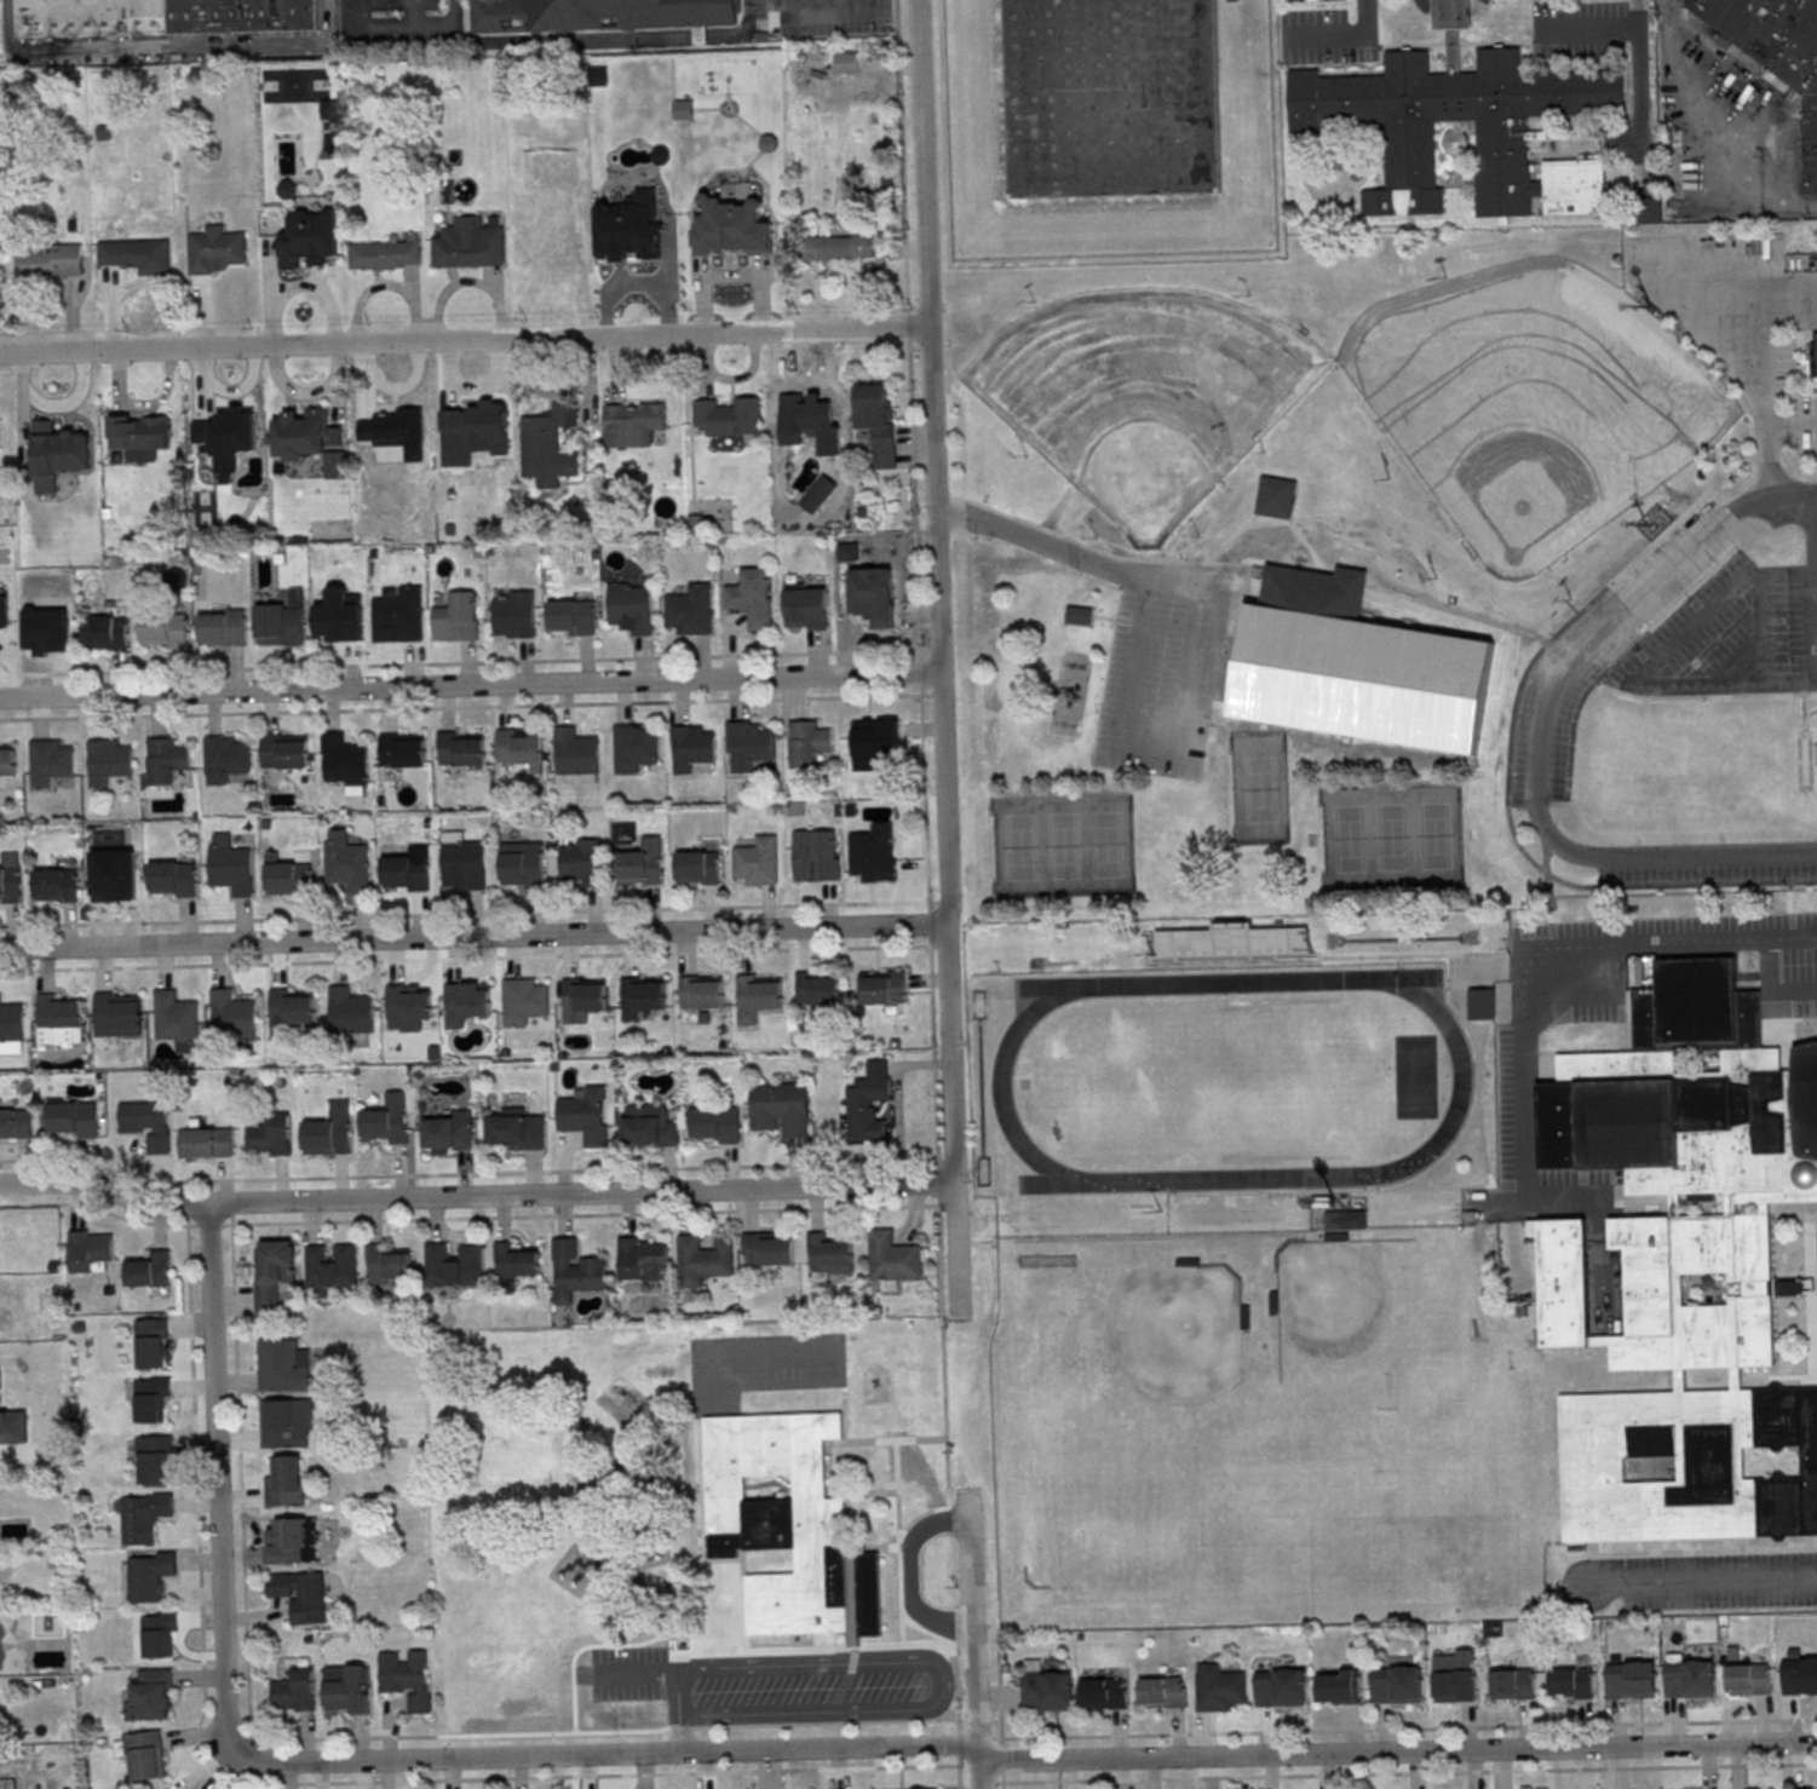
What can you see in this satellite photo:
road: (816, 6)
road: (412, 13)
building: (594, 13)
building: (159, 17)
road: (6, 27)
road: (407, 27)
road: (1599, 29)
road: (1349, 31)
road: (559, 41)
road: (191, 50)
building: (1778, 54)
building: (845, 63)
road: (1638, 71)
building: (1093, 93)
building: (1456, 93)
building: (327, 110)
road: (943, 133)
road: (901, 157)
road: (1687, 166)
building: (287, 190)
building: (1649, 209)
building: (629, 226)
building: (731, 228)
building: (310, 238)
building: (468, 243)
building: (550, 245)
building: (840, 247)
building: (215, 248)
building: (384, 253)
building: (137, 254)
building: (1816, 259)
building: (51, 261)
road: (907, 327)
road: (464, 340)
building: (1812, 358)
road: (1760, 390)
park: (1142, 396)
park: (1533, 402)
building: (806, 414)
building: (728, 416)
building: (473, 419)
building: (875, 421)
building: (633, 422)
road: (1789, 422)
building: (391, 425)
building: (228, 435)
building: (138, 436)
building: (309, 438)
building: (548, 444)
building: (57, 453)
building: (1272, 495)
road: (913, 499)
stadium: (1198, 519)
stadium: (1439, 520)
stadium: (1094, 522)
stadium: (1591, 545)
road: (1069, 553)
park: (1386, 574)
road: (1810, 587)
building: (873, 596)
building: (751, 598)
building: (629, 606)
building: (4, 608)
building: (804, 609)
building: (689, 610)
building: (514, 614)
building: (399, 615)
building: (458, 616)
building: (571, 617)
building: (340, 620)
building: (280, 625)
building: (222, 627)
building: (163, 628)
road: (1759, 629)
building: (105, 631)
building: (46, 633)
parking lot: (1730, 637)
parking lot: (1604, 644)
building: (1327, 652)
road: (938, 660)
road: (459, 663)
road: (1740, 665)
road: (1646, 667)
parking lot: (1161, 668)
road: (919, 673)
road: (468, 685)
road: (460, 707)
road: (1539, 727)
building: (874, 738)
building: (807, 743)
building: (747, 744)
building: (518, 746)
building: (633, 747)
building: (690, 747)
building: (460, 749)
road: (1148, 749)
building: (399, 750)
building: (283, 752)
building: (575, 752)
building: (224, 758)
building: (165, 760)
building: (7, 761)
building: (48, 761)
building: (107, 761)
building: (345, 764)
park: (1259, 788)
park: (1391, 835)
park: (1059, 844)
building: (816, 855)
building: (873, 858)
building: (755, 861)
building: (581, 862)
building: (465, 863)
building: (640, 863)
building: (522, 864)
building: (349, 865)
parking lot: (1707, 867)
building: (696, 868)
building: (231, 869)
building: (407, 870)
building: (114, 873)
building: (10, 879)
building: (287, 879)
building: (172, 880)
building: (53, 885)
road: (464, 914)
road: (928, 930)
road: (472, 937)
road: (1678, 938)
stadium: (1223, 945)
road: (464, 957)
road: (1775, 983)
building: (881, 986)
building: (816, 990)
building: (698, 993)
building: (640, 994)
building: (758, 994)
building: (582, 996)
building: (523, 1001)
building: (464, 1003)
building: (1480, 1003)
building: (406, 1006)
building: (291, 1007)
building: (349, 1012)
building: (117, 1016)
building: (231, 1017)
building: (58, 1018)
building: (176, 1018)
building: (11, 1029)
park: (1231, 1080)
track: (1231, 1081)
building: (864, 1106)
building: (782, 1108)
building: (583, 1116)
building: (71, 1120)
building: (143, 1120)
building: (385, 1120)
building: (715, 1123)
building: (16, 1124)
building: (648, 1126)
building: (329, 1131)
building: (516, 1131)
building: (448, 1132)
building: (270, 1137)
building: (205, 1139)
road: (945, 1162)
road: (1519, 1169)
road: (470, 1173)
road: (937, 1187)
road: (475, 1197)
road: (947, 1206)
stadium: (1234, 1209)
road: (468, 1218)
building: (1342, 1219)
building: (87, 1249)
building: (767, 1249)
stadium: (1217, 1255)
building: (891, 1256)
building: (827, 1258)
building: (639, 1259)
building: (702, 1259)
building: (514, 1261)
stadium: (1264, 1261)
building: (1680, 1262)
building: (389, 1265)
building: (452, 1265)
building: (329, 1266)
building: (149, 1270)
building: (574, 1271)
building: (271, 1273)
building: (150, 1341)
building: (281, 1365)
road: (943, 1385)
building: (151, 1399)
building: (15, 1405)
road: (844, 1415)
building: (286, 1423)
road: (882, 1440)
building: (153, 1459)
road: (215, 1477)
building: (284, 1482)
road: (896, 1490)
road: (196, 1514)
building: (143, 1517)
building: (788, 1525)
building: (288, 1540)
road: (242, 1567)
road: (899, 1574)
building: (149, 1575)
road: (1702, 1580)
building: (300, 1594)
building: (160, 1635)
road: (972, 1639)
road: (908, 1645)
road: (953, 1655)
road: (776, 1663)
building: (1746, 1676)
building: (1799, 1676)
building: (1691, 1678)
building: (1632, 1679)
building: (409, 1680)
building: (1570, 1682)
building: (1398, 1684)
building: (1511, 1684)
building: (1453, 1685)
building: (1281, 1686)
building: (1338, 1686)
building: (1045, 1689)
building: (1219, 1689)
building: (346, 1690)
building: (294, 1691)
building: (1162, 1692)
building: (1103, 1693)
building: (149, 1695)
road: (827, 1708)
road: (680, 1732)
road: (956, 1744)
building: (143, 1754)
road: (1247, 1755)
road: (458, 1758)
road: (1001, 1760)
building: (65, 1762)
road: (958, 1773)
building: (22, 1774)
road: (615, 1774)
road: (1002, 1785)
building: (163, 1788)

